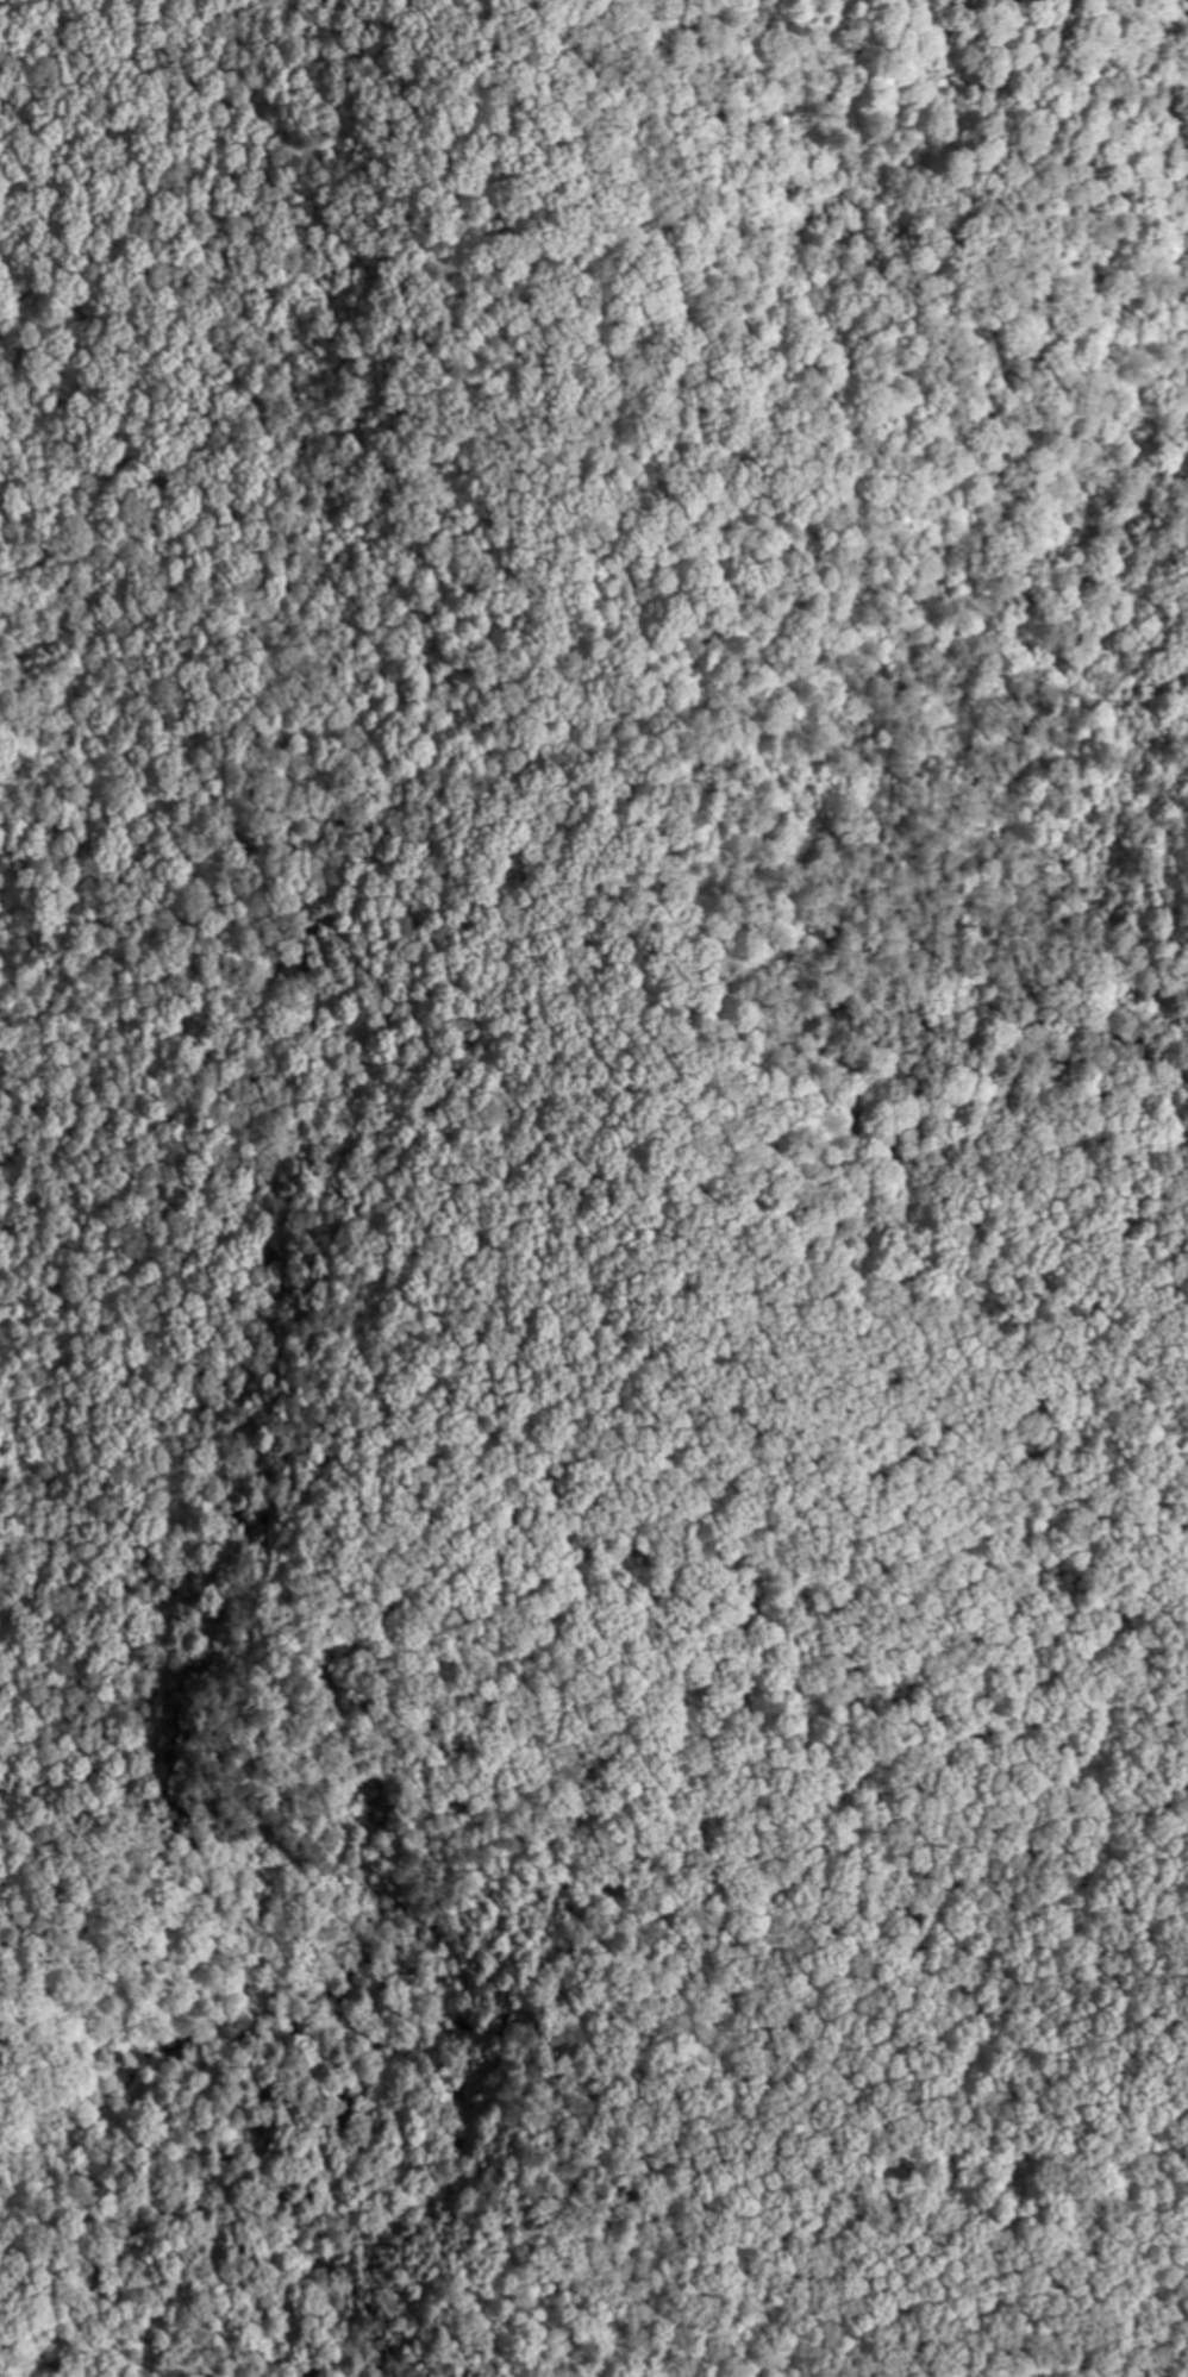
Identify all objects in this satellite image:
road: (470, 1458)

